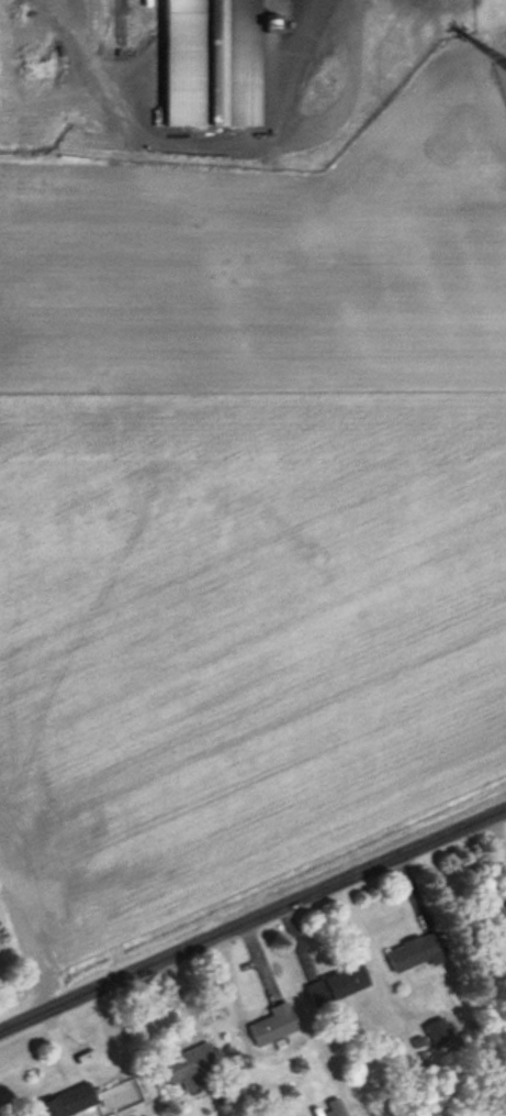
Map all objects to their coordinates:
railway: (116, 25)
building: (210, 62)
building: (497, 919)
road: (252, 920)
building: (412, 950)
building: (335, 984)
building: (271, 1024)
building: (190, 1067)
building: (64, 1101)

